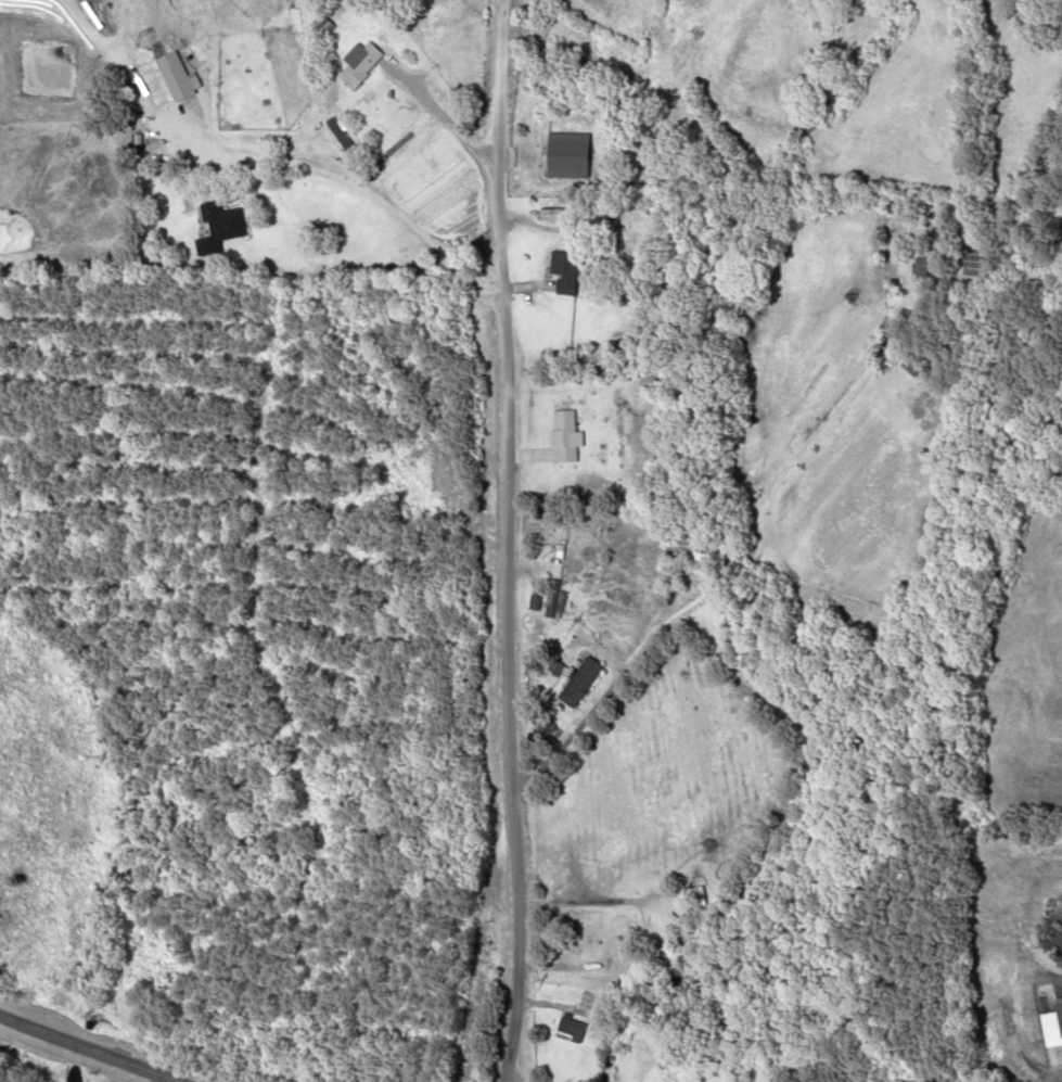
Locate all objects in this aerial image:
building: (322, 26)
building: (359, 64)
building: (568, 155)
building: (554, 215)
building: (219, 227)
building: (978, 260)
building: (921, 268)
building: (568, 271)
building: (913, 365)
building: (565, 437)
road: (739, 538)
road: (507, 540)
building: (553, 599)
building: (580, 683)
building: (1060, 1010)
building: (572, 1030)
road: (85, 1049)

